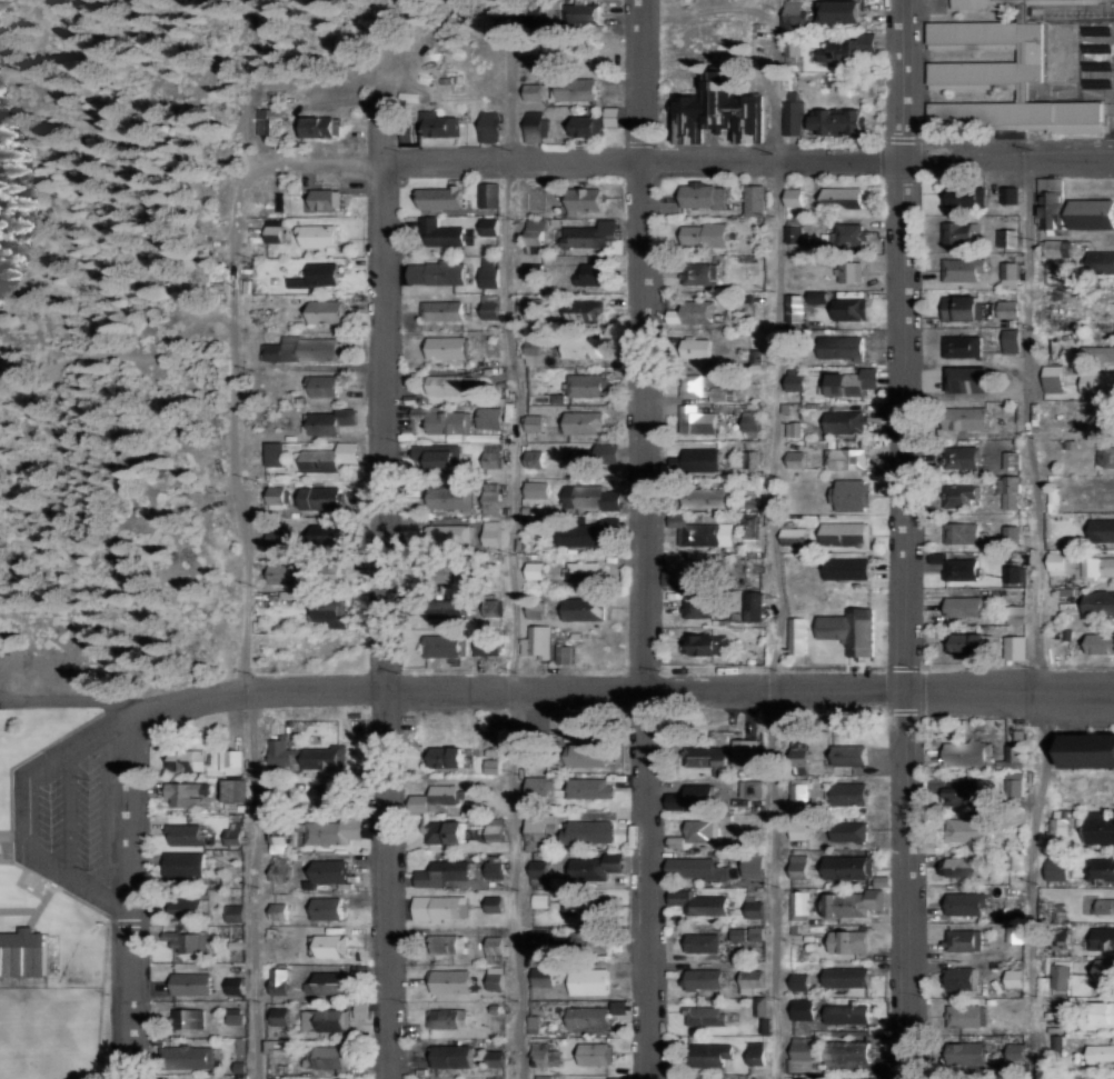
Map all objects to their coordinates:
building: (976, 3)
building: (843, 11)
building: (580, 12)
building: (531, 14)
building: (794, 16)
road: (379, 40)
building: (793, 48)
building: (847, 49)
building: (533, 52)
road: (387, 70)
building: (1009, 77)
building: (578, 89)
building: (534, 91)
building: (717, 111)
building: (793, 113)
building: (839, 120)
building: (269, 121)
building: (593, 122)
building: (317, 126)
building: (445, 126)
building: (535, 127)
building: (489, 130)
road: (746, 152)
building: (1006, 193)
building: (489, 194)
building: (534, 196)
building: (962, 196)
building: (794, 197)
building: (844, 197)
building: (442, 198)
building: (324, 199)
building: (586, 199)
building: (700, 199)
building: (755, 199)
building: (1072, 208)
building: (490, 226)
building: (273, 230)
building: (793, 230)
building: (958, 232)
building: (439, 233)
building: (588, 233)
building: (848, 234)
building: (319, 236)
building: (535, 236)
building: (1007, 237)
building: (703, 238)
building: (1056, 248)
building: (1100, 263)
building: (535, 271)
building: (848, 271)
building: (437, 272)
building: (489, 272)
building: (959, 273)
building: (1009, 273)
building: (320, 274)
building: (590, 274)
building: (703, 277)
building: (814, 298)
building: (490, 306)
building: (794, 308)
building: (958, 308)
building: (533, 309)
building: (1008, 309)
building: (326, 310)
building: (442, 310)
building: (584, 310)
building: (695, 311)
building: (846, 312)
building: (673, 318)
building: (1012, 340)
building: (589, 346)
building: (447, 347)
building: (959, 348)
building: (534, 349)
building: (694, 350)
building: (838, 351)
building: (1104, 353)
building: (1053, 378)
building: (969, 379)
building: (796, 381)
building: (852, 382)
building: (450, 384)
building: (585, 384)
building: (1097, 386)
building: (324, 387)
building: (689, 389)
building: (489, 417)
building: (974, 418)
building: (331, 420)
building: (697, 420)
building: (447, 422)
building: (584, 422)
building: (750, 422)
building: (535, 423)
building: (793, 428)
building: (273, 453)
building: (491, 456)
building: (593, 456)
building: (1104, 456)
building: (326, 457)
building: (436, 457)
building: (948, 457)
building: (968, 457)
building: (535, 458)
building: (844, 458)
building: (797, 459)
building: (698, 463)
building: (537, 489)
building: (968, 493)
building: (1093, 493)
building: (851, 494)
building: (276, 497)
building: (320, 497)
building: (591, 497)
building: (710, 497)
building: (450, 498)
building: (491, 498)
building: (1102, 530)
building: (490, 532)
building: (584, 532)
building: (702, 532)
building: (962, 532)
building: (1012, 532)
building: (845, 533)
building: (328, 534)
building: (447, 534)
building: (793, 536)
building: (277, 538)
road: (513, 539)
road: (645, 539)
road: (906, 539)
road: (770, 541)
road: (246, 557)
building: (1056, 561)
building: (848, 569)
building: (961, 569)
building: (535, 570)
building: (580, 571)
building: (700, 572)
building: (278, 573)
building: (322, 573)
building: (1014, 575)
building: (1098, 603)
building: (965, 606)
building: (699, 607)
building: (754, 607)
building: (447, 609)
building: (536, 609)
building: (584, 609)
building: (326, 611)
building: (1016, 615)
road: (1038, 615)
road: (386, 619)
building: (851, 630)
building: (796, 636)
building: (537, 641)
building: (966, 643)
building: (1100, 643)
building: (444, 645)
building: (706, 645)
building: (488, 646)
building: (1015, 646)
building: (565, 655)
road: (626, 677)
building: (799, 749)
building: (535, 750)
building: (1015, 750)
building: (596, 752)
building: (746, 752)
building: (966, 752)
building: (851, 755)
building: (307, 756)
building: (706, 756)
building: (441, 758)
building: (185, 760)
building: (231, 761)
building: (1014, 787)
building: (586, 788)
building: (752, 788)
building: (536, 789)
building: (958, 789)
building: (236, 790)
building: (798, 791)
building: (186, 793)
building: (444, 793)
building: (699, 793)
building: (851, 793)
building: (328, 795)
building: (278, 798)
building: (677, 801)
building: (1058, 827)
building: (799, 828)
building: (968, 829)
building: (538, 830)
building: (849, 830)
building: (1100, 830)
building: (332, 831)
building: (445, 831)
building: (494, 831)
building: (587, 831)
building: (702, 831)
building: (233, 833)
building: (186, 835)
building: (279, 843)
building: (183, 865)
building: (594, 867)
building: (798, 867)
building: (846, 867)
building: (959, 867)
building: (1056, 867)
building: (494, 868)
building: (754, 868)
building: (279, 869)
building: (696, 869)
building: (1098, 870)
building: (538, 871)
building: (329, 872)
building: (442, 873)
road: (128, 892)
building: (537, 899)
building: (699, 902)
building: (798, 902)
building: (495, 903)
building: (852, 903)
building: (965, 903)
building: (586, 906)
building: (1104, 906)
building: (328, 908)
building: (440, 908)
building: (187, 909)
building: (755, 909)
building: (1056, 910)
building: (279, 911)
building: (235, 912)
building: (737, 933)
building: (756, 933)
building: (1103, 937)
building: (539, 939)
building: (589, 940)
building: (963, 940)
building: (703, 941)
building: (848, 941)
building: (183, 942)
building: (447, 945)
building: (330, 946)
building: (495, 949)
building: (23, 953)
building: (1103, 973)
building: (1060, 976)
building: (543, 977)
building: (846, 977)
building: (495, 978)
building: (961, 978)
building: (1015, 978)
building: (705, 979)
building: (752, 980)
building: (279, 981)
building: (451, 981)
building: (588, 981)
building: (799, 981)
building: (191, 983)
building: (326, 983)
building: (235, 986)
building: (803, 1009)
building: (846, 1013)
building: (1105, 1013)
building: (279, 1016)
building: (705, 1016)
building: (964, 1016)
building: (588, 1017)
building: (447, 1018)
building: (187, 1019)
building: (321, 1020)
building: (534, 1025)
building: (802, 1050)
building: (1015, 1050)
building: (1100, 1051)
building: (847, 1052)
building: (968, 1052)
building: (594, 1053)
building: (756, 1053)
building: (712, 1055)
building: (452, 1056)
building: (186, 1057)
building: (324, 1058)
building: (496, 1058)
building: (968, 1075)
building: (540, 1076)
building: (339, 1078)
building: (496, 1078)
building: (1110, 1078)

